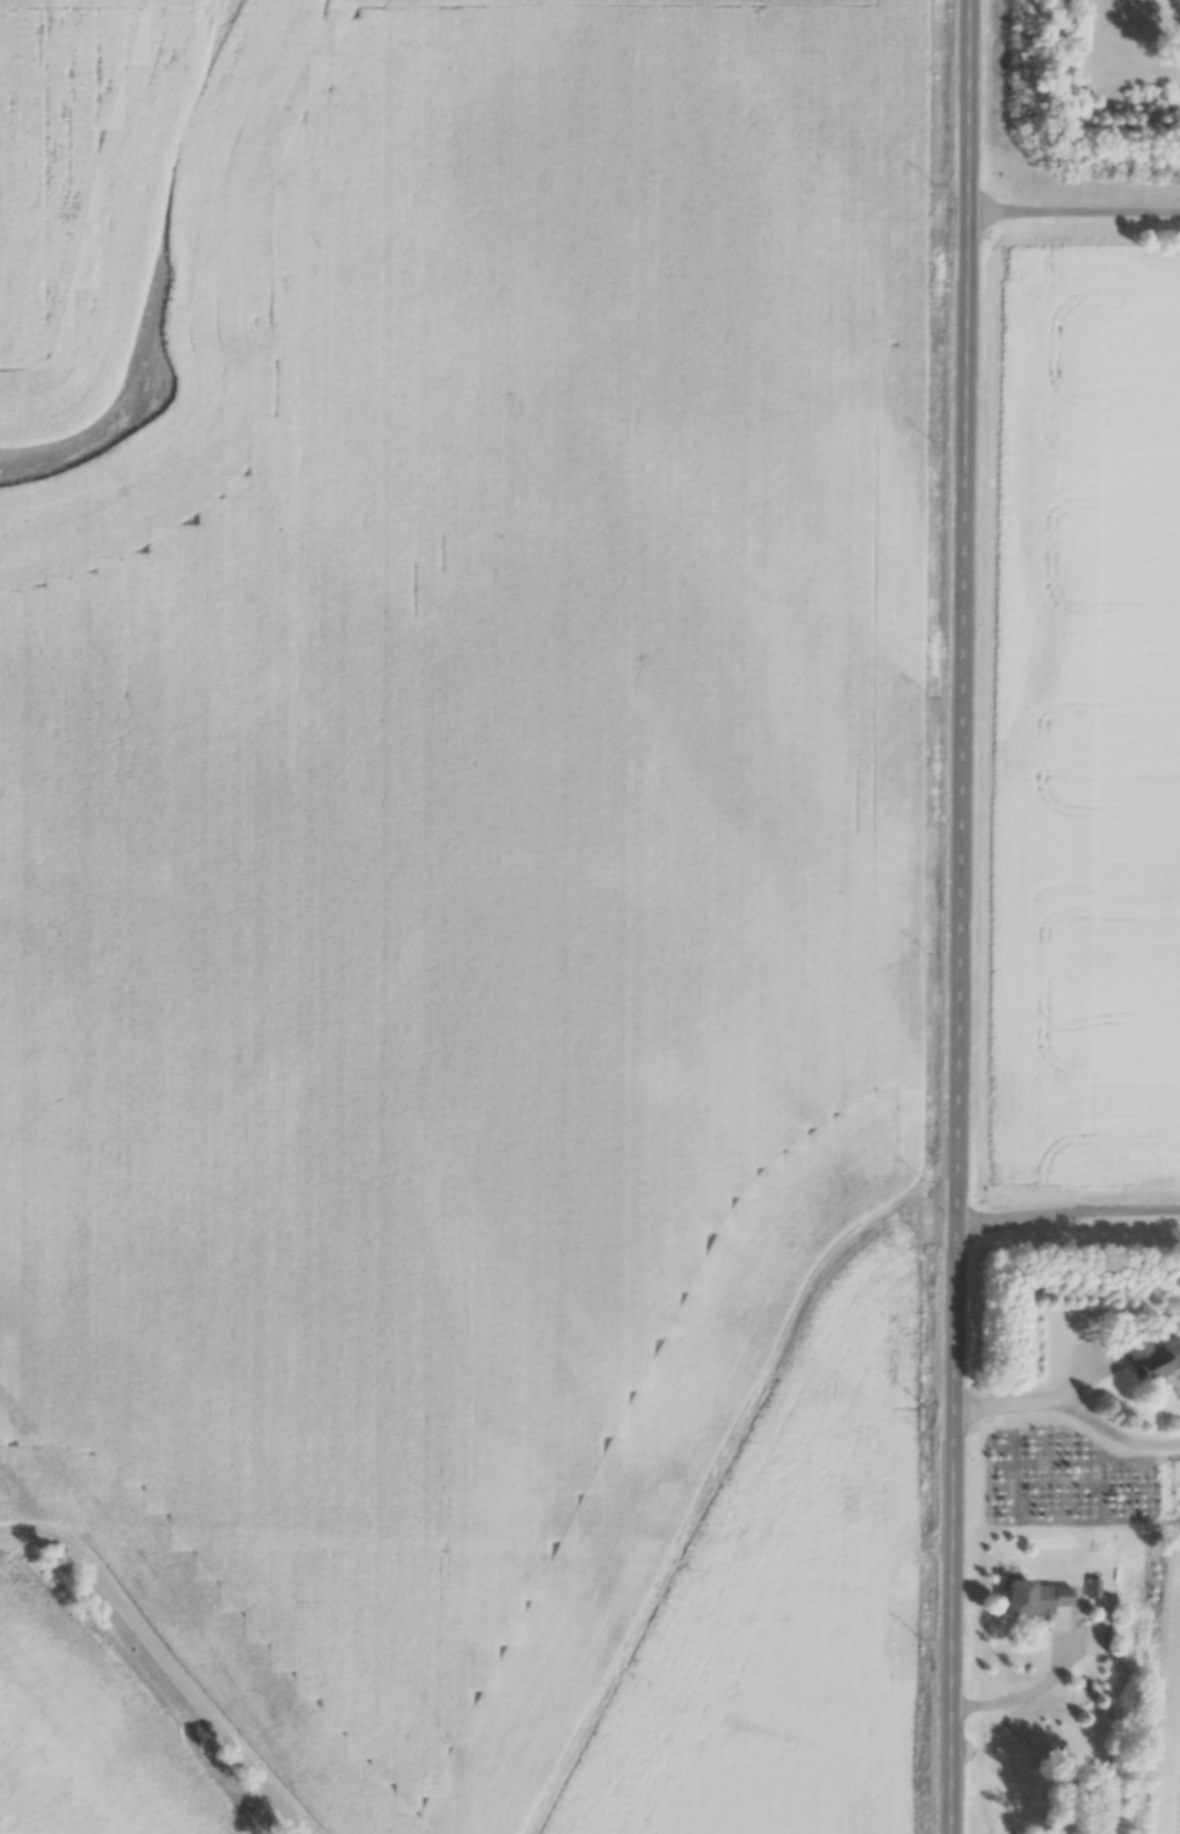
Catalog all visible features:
road: (1067, 211)
road: (951, 917)
road: (1065, 1203)
building: (1150, 1352)
road: (1065, 1395)
building: (1032, 1597)
road: (153, 1669)

